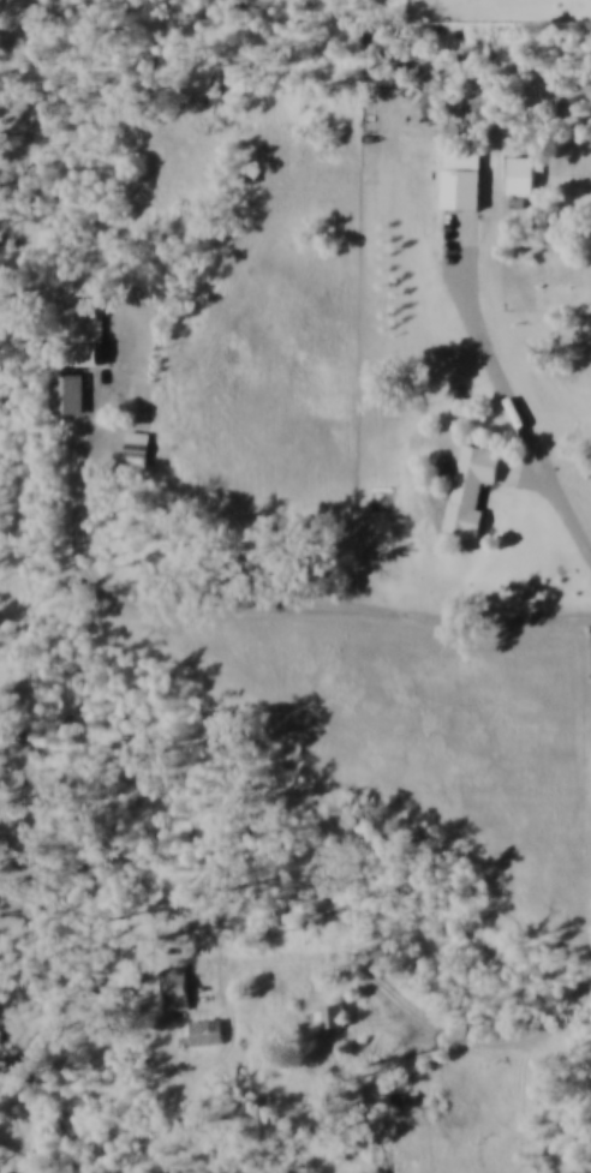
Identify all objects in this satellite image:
road: (32, 127)
building: (527, 182)
building: (465, 184)
building: (94, 346)
building: (70, 400)
road: (518, 412)
building: (143, 454)
road: (529, 475)
building: (474, 493)
road: (245, 605)
building: (183, 988)
road: (416, 1006)
building: (339, 1015)
building: (214, 1030)

